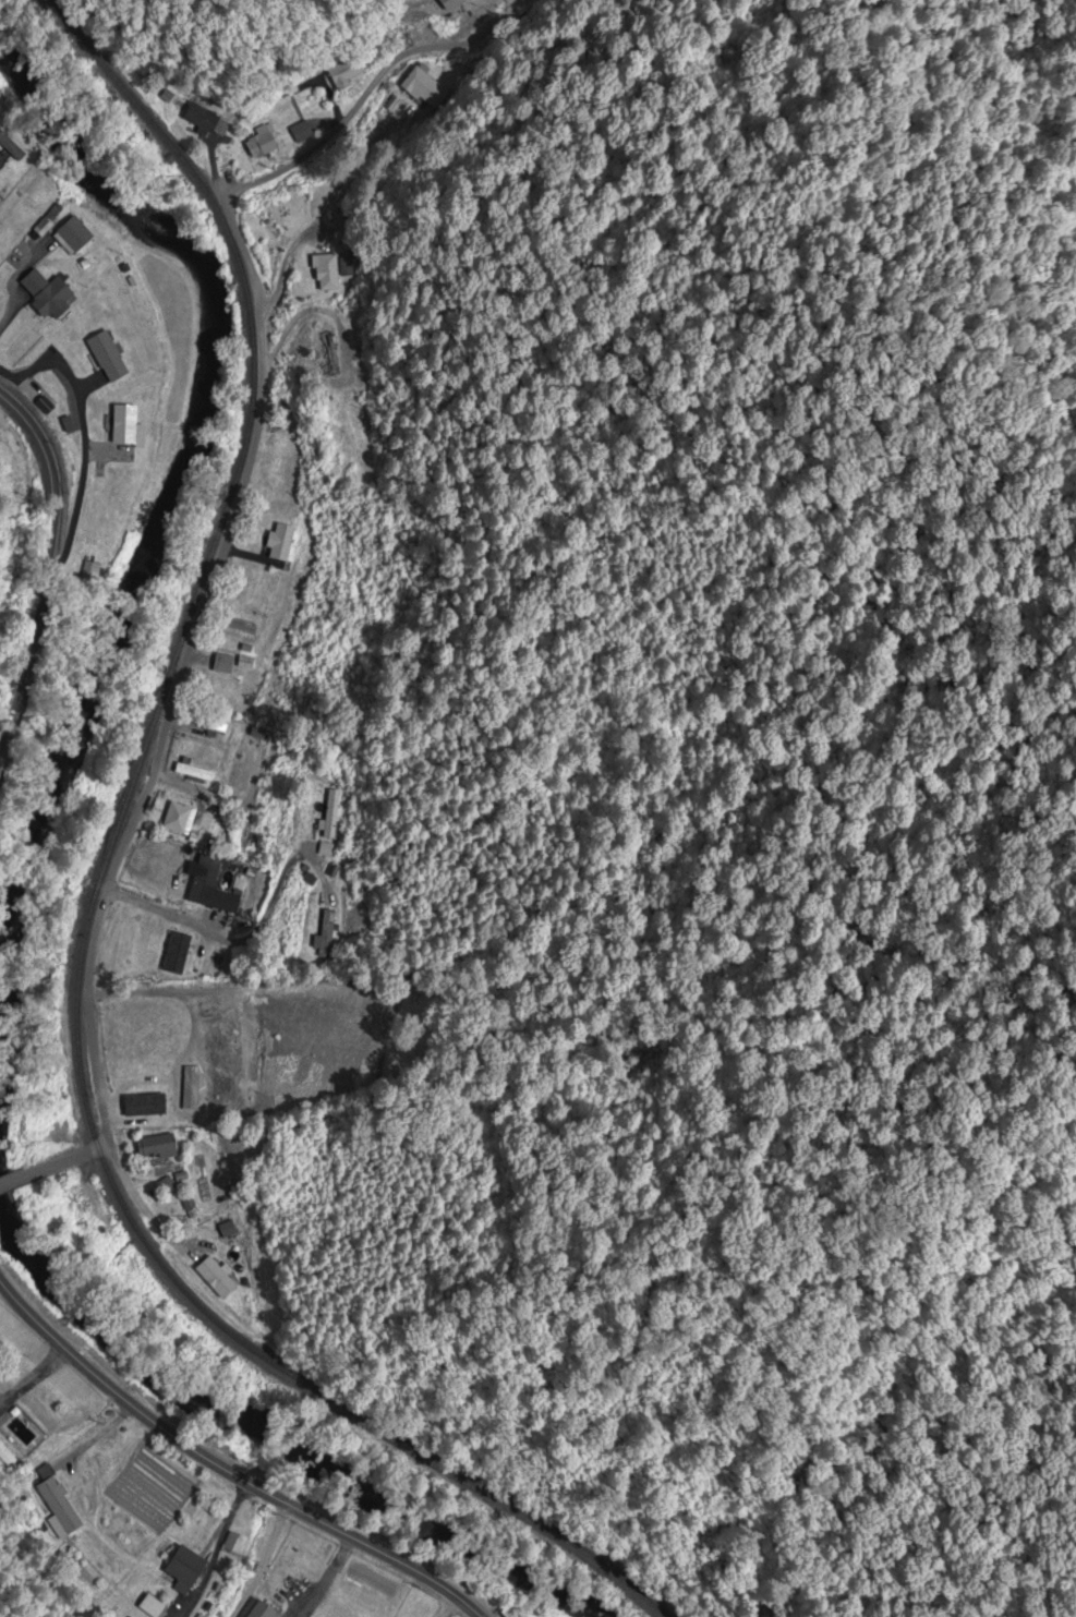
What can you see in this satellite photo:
building: (341, 76)
building: (202, 119)
building: (301, 133)
building: (261, 144)
building: (75, 234)
road: (282, 261)
building: (325, 274)
building: (48, 295)
road: (316, 311)
building: (107, 358)
building: (362, 412)
building: (124, 425)
road: (78, 439)
building: (367, 473)
river: (176, 508)
road: (232, 518)
building: (280, 543)
road: (45, 562)
building: (193, 772)
building: (330, 814)
building: (177, 819)
building: (207, 884)
railway: (93, 907)
building: (323, 938)
road: (246, 943)
building: (181, 954)
building: (135, 977)
building: (190, 1088)
building: (156, 1147)
road: (36, 1166)
road: (134, 1196)
building: (227, 1230)
river: (280, 1419)
road: (223, 1470)
building: (58, 1503)
building: (233, 1543)
road: (257, 1561)
building: (185, 1570)
road: (451, 1607)
building: (262, 1610)

